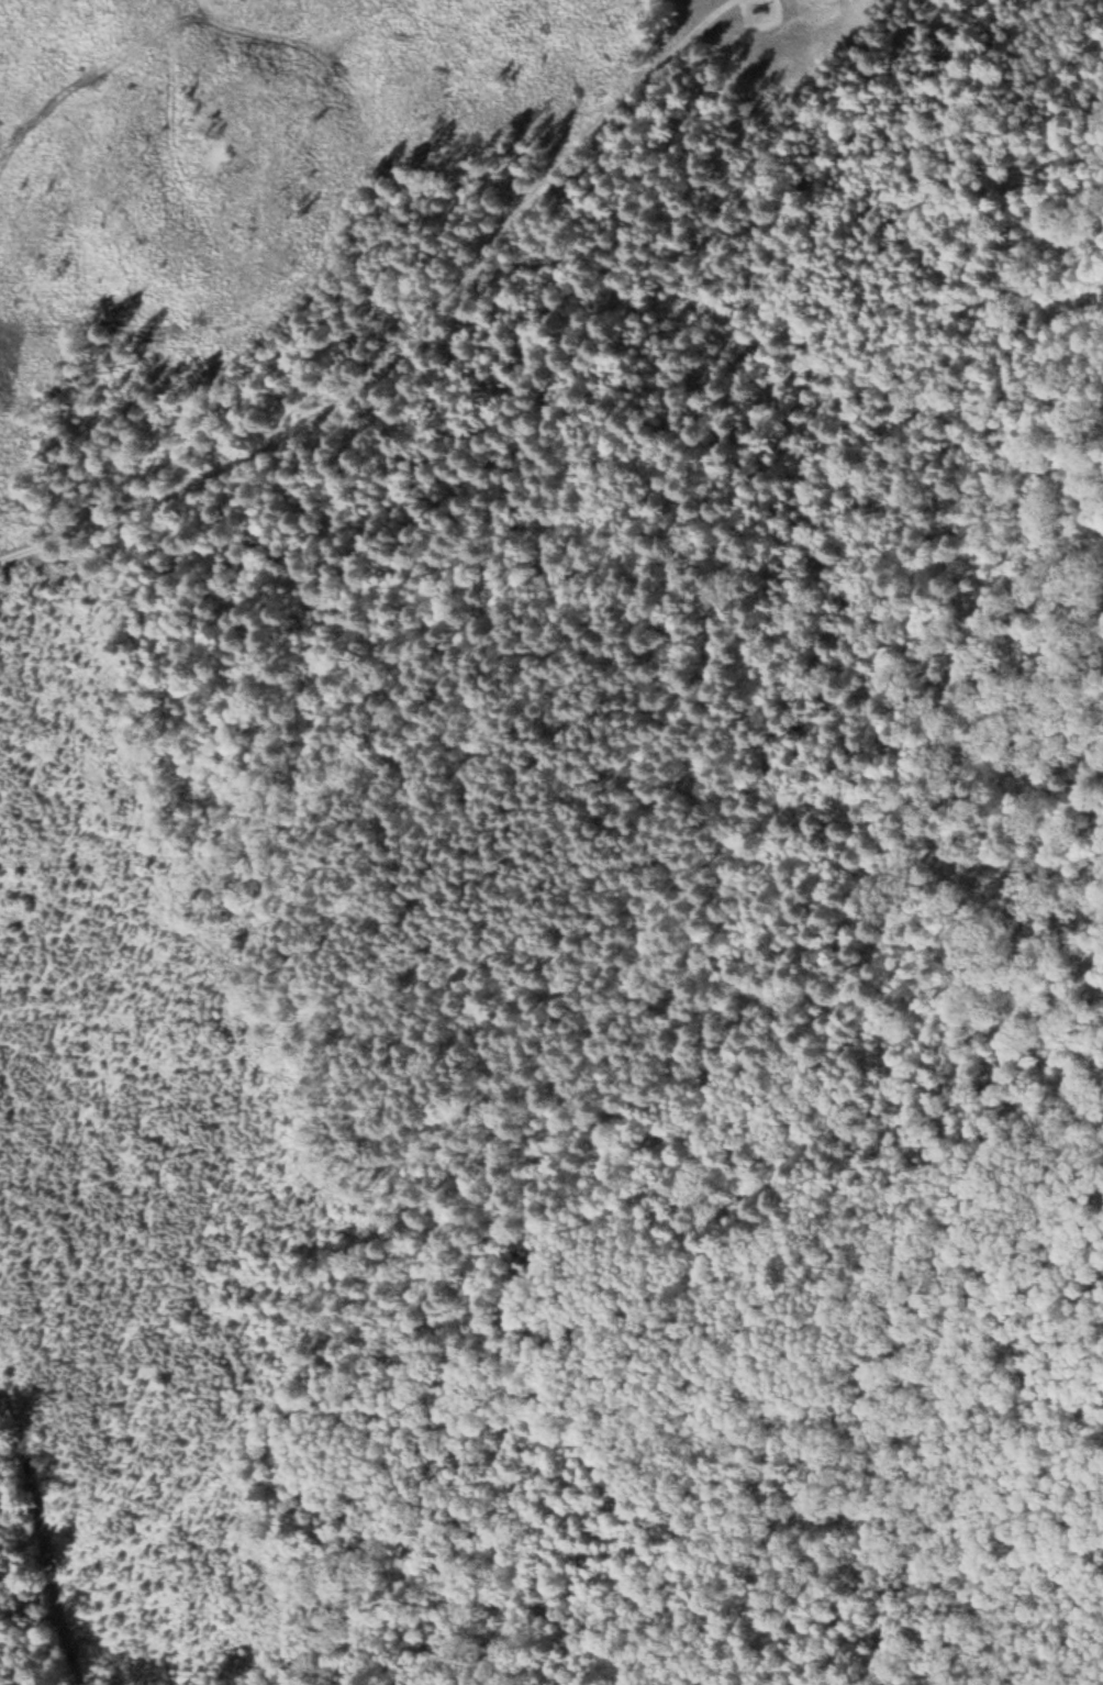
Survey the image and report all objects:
road: (423, 342)
road: (48, 1540)

